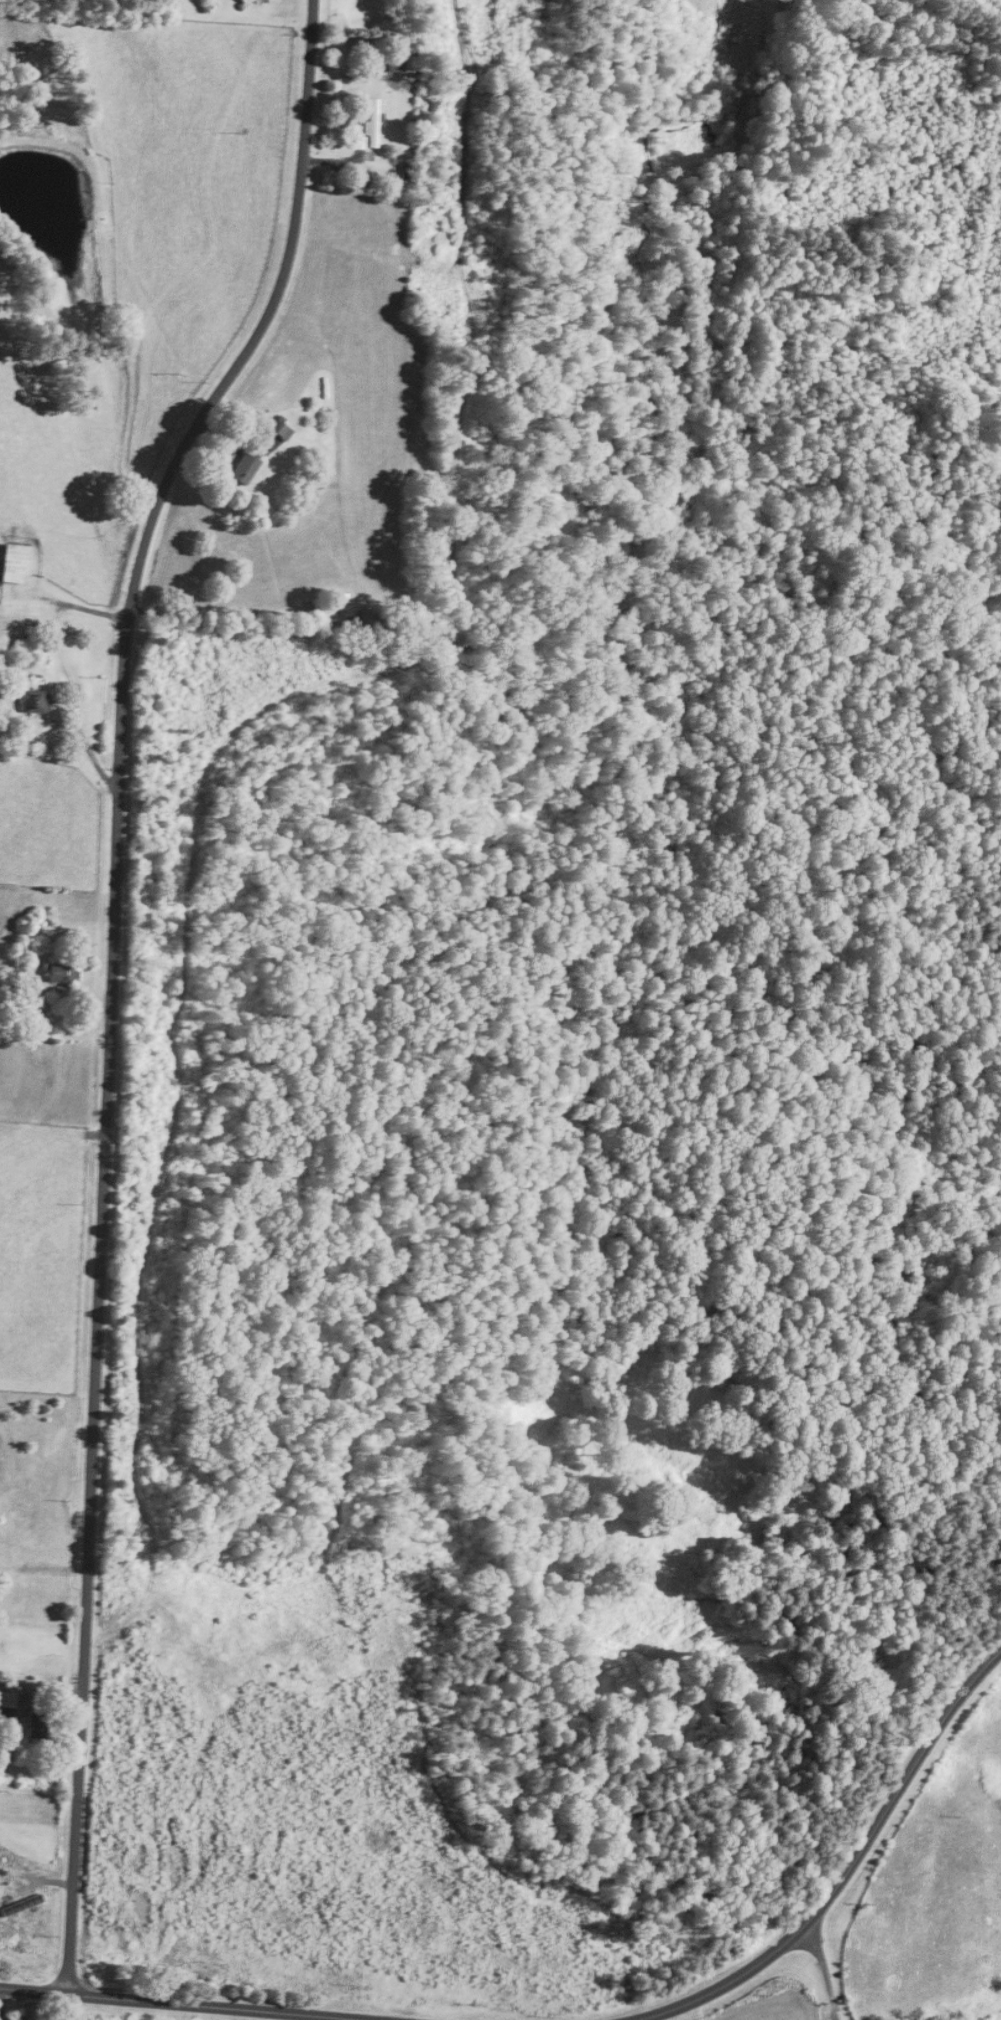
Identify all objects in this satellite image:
building: (257, 0)
building: (371, 123)
building: (281, 427)
building: (244, 468)
building: (17, 564)
building: (32, 701)
building: (63, 973)
road: (109, 975)
road: (40, 1691)
building: (9, 1704)
building: (38, 1724)
road: (849, 1865)
building: (21, 1905)
road: (825, 1971)
road: (181, 2004)

